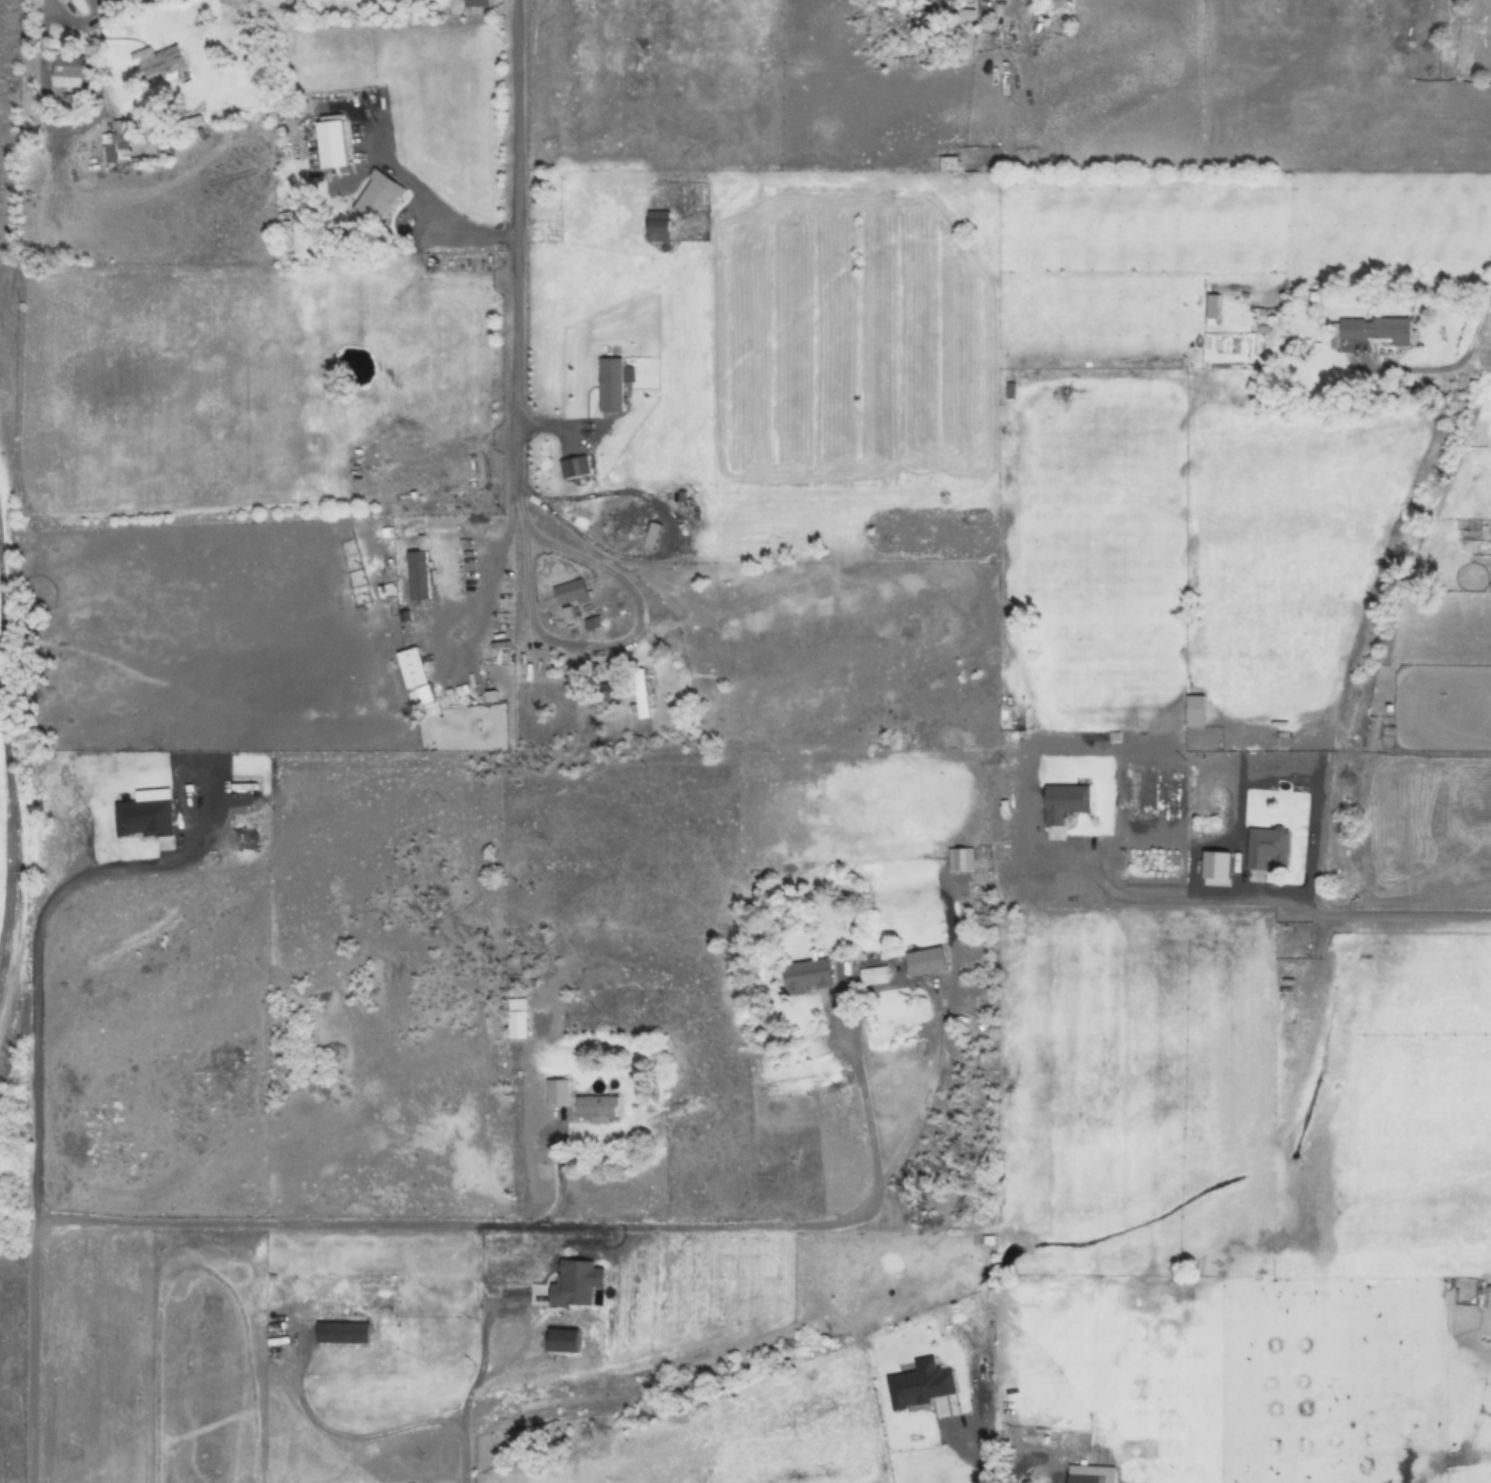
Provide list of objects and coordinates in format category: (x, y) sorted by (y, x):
building: (964, 0)
building: (477, 3)
building: (1367, 17)
building: (1459, 50)
building: (157, 61)
building: (68, 72)
building: (332, 144)
building: (118, 145)
building: (948, 164)
building: (375, 202)
road: (517, 264)
building: (1376, 330)
road: (1477, 336)
building: (1011, 391)
building: (570, 593)
building: (641, 694)
crop: (745, 741)
building: (1066, 804)
building: (1268, 848)
road: (1310, 920)
building: (806, 976)
building: (517, 1018)
building: (557, 1091)
building: (596, 1106)
road: (373, 1223)
building: (529, 1438)
building: (1086, 1478)

